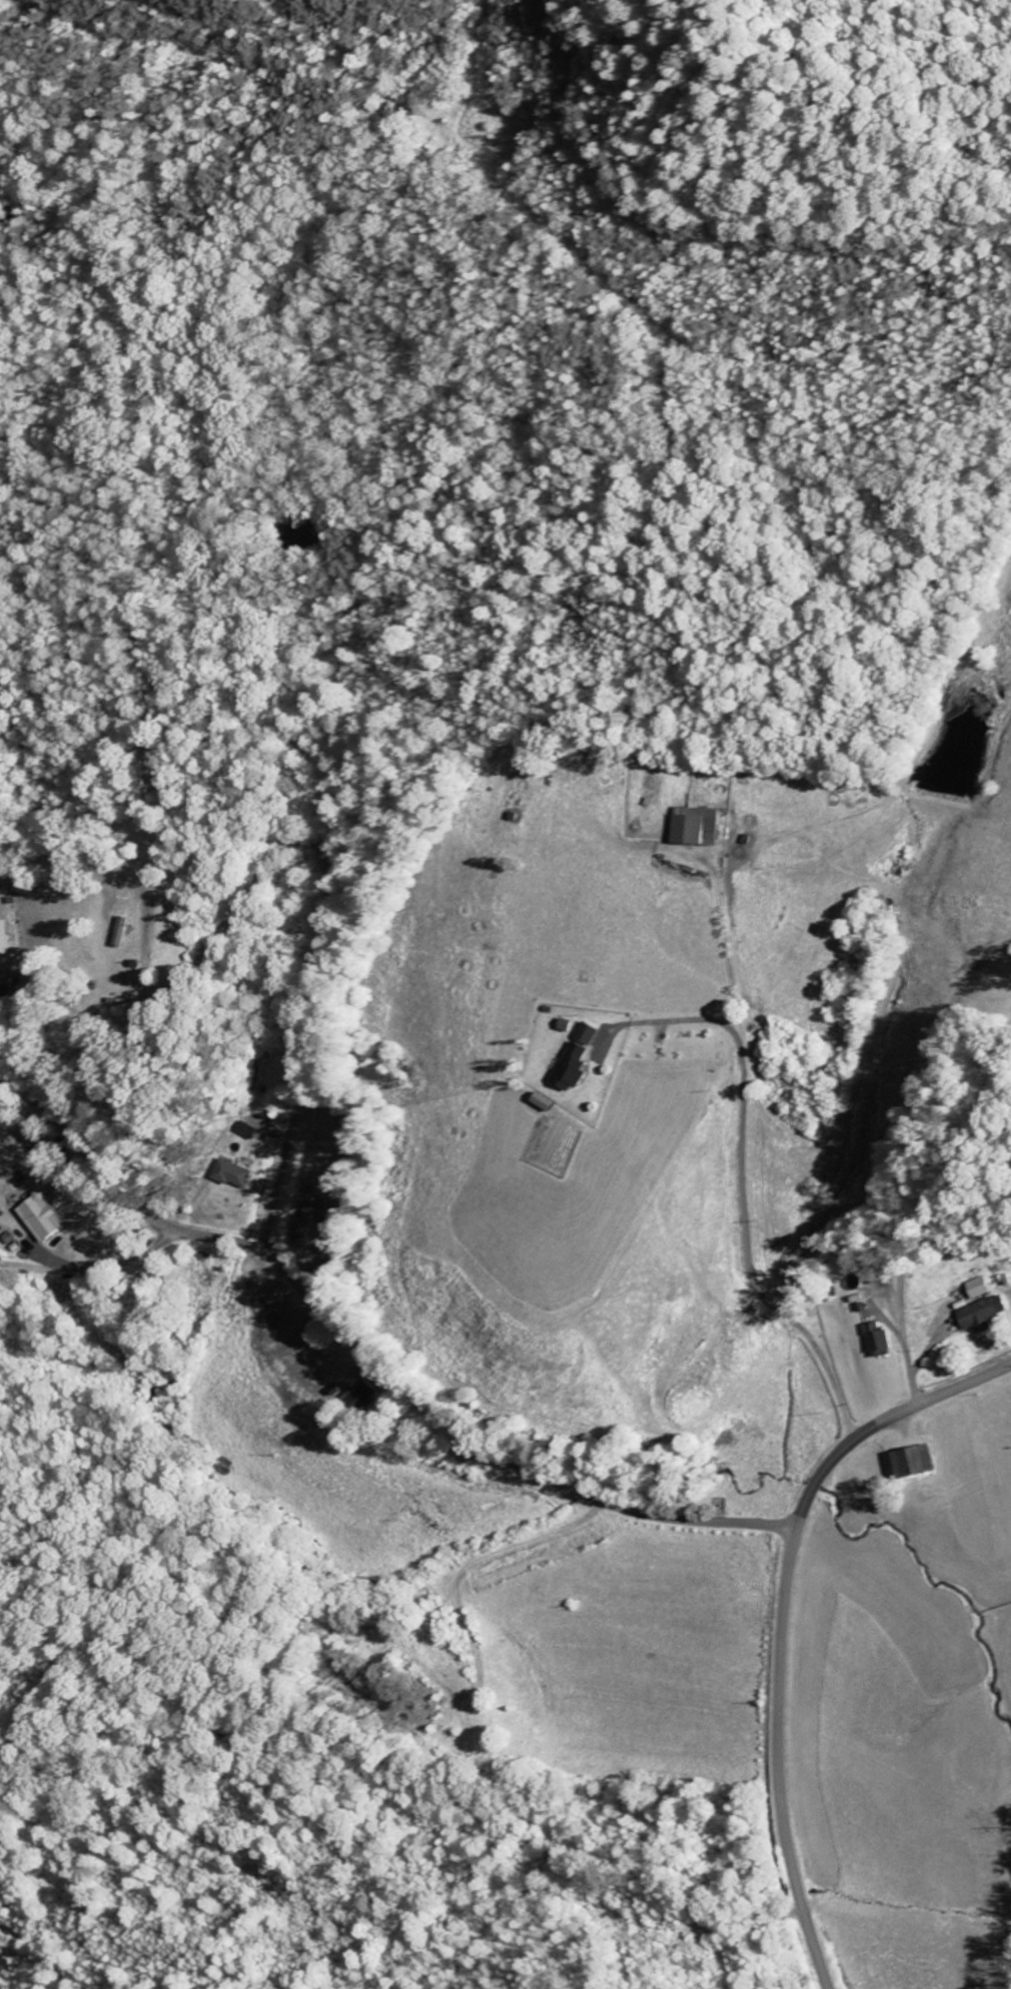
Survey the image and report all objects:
building: (701, 827)
building: (6, 943)
building: (569, 1025)
building: (591, 1033)
building: (576, 1066)
building: (550, 1100)
building: (250, 1130)
building: (237, 1173)
building: (44, 1216)
building: (311, 1221)
building: (982, 1287)
building: (987, 1313)
building: (885, 1339)
road: (368, 1365)
building: (369, 1395)
building: (921, 1461)
road: (782, 1621)

